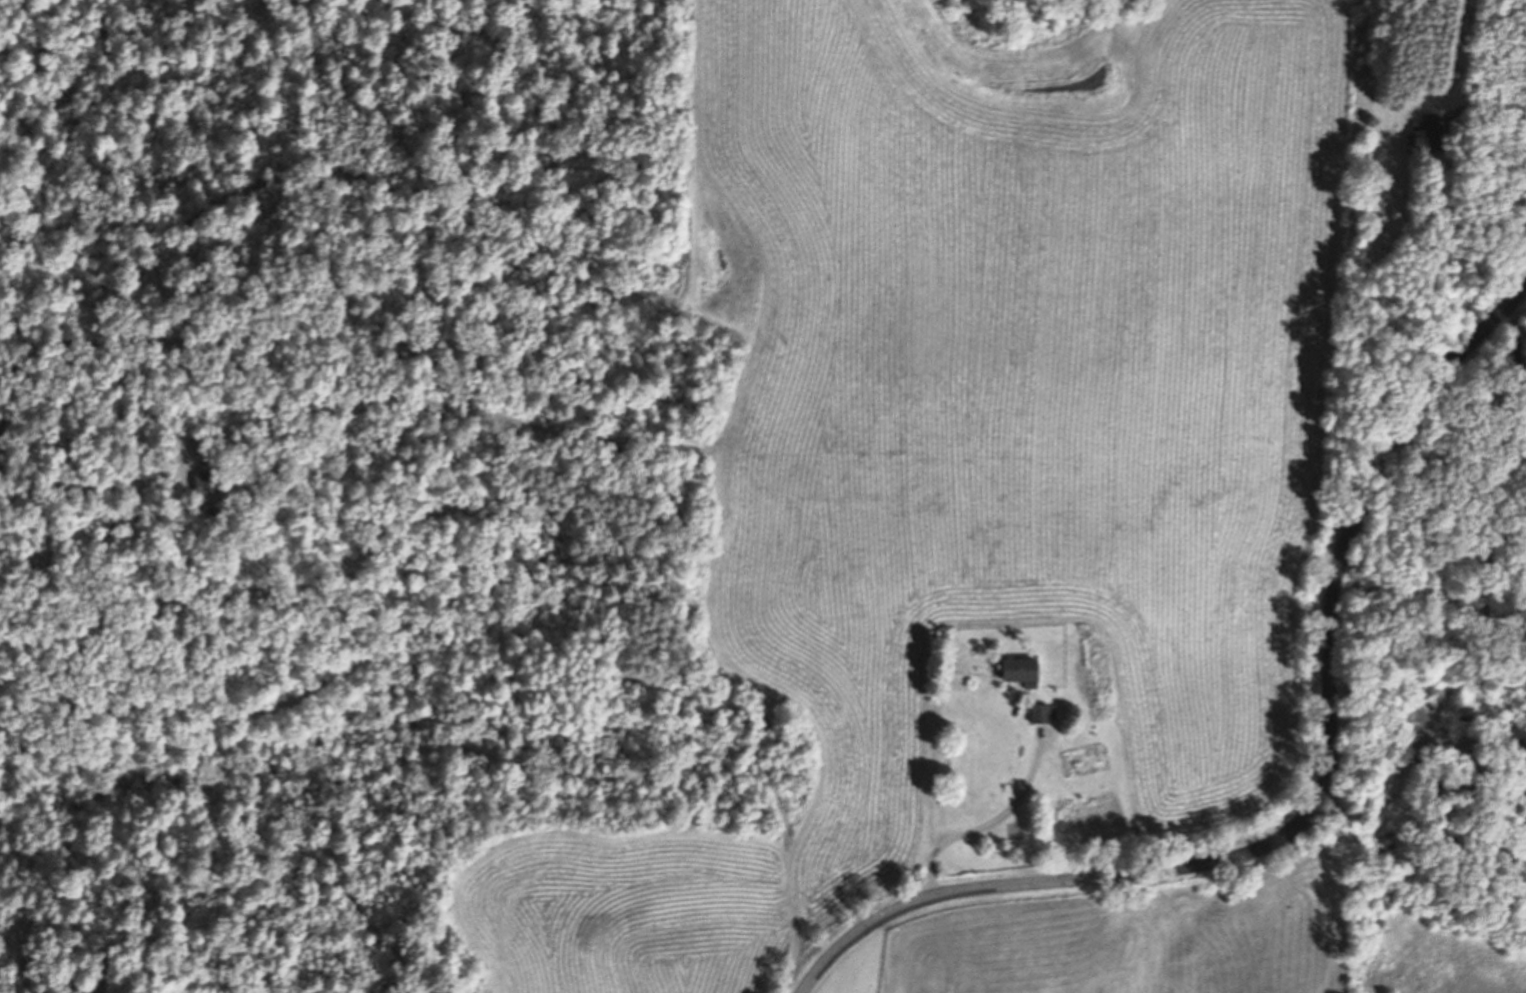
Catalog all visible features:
road: (1495, 104)
building: (1432, 135)
road: (1515, 318)
road: (1518, 340)
building: (214, 481)
building: (1022, 671)
building: (1042, 713)
building: (1516, 737)
road: (1320, 801)
road: (989, 825)

